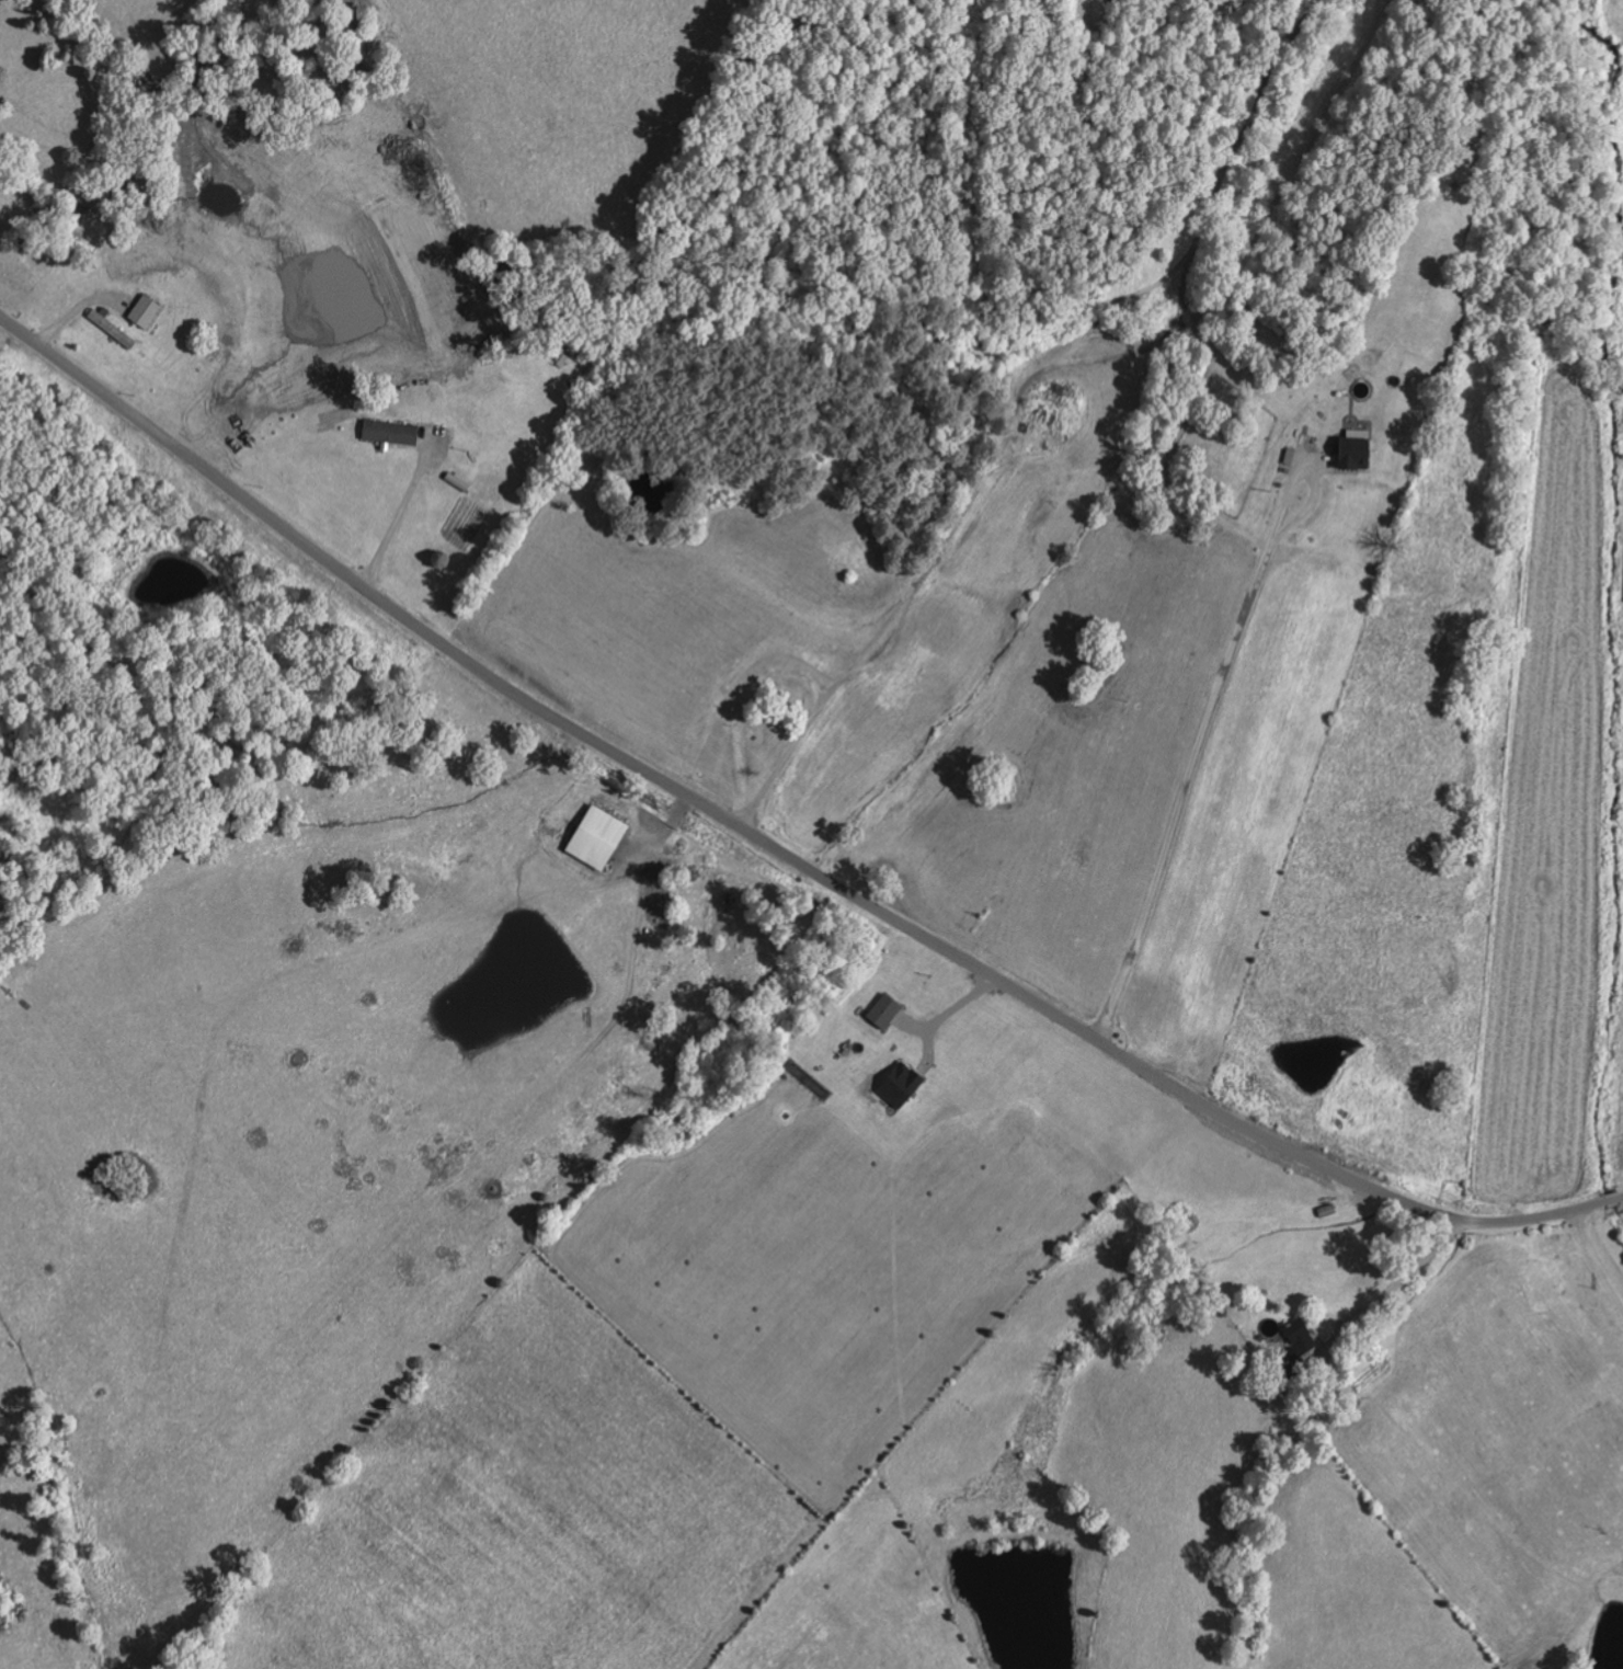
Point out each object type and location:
building: (146, 311)
building: (115, 331)
building: (392, 432)
building: (1357, 454)
building: (599, 838)
road: (777, 848)
building: (887, 1011)
building: (902, 1086)
building: (1300, 1335)

